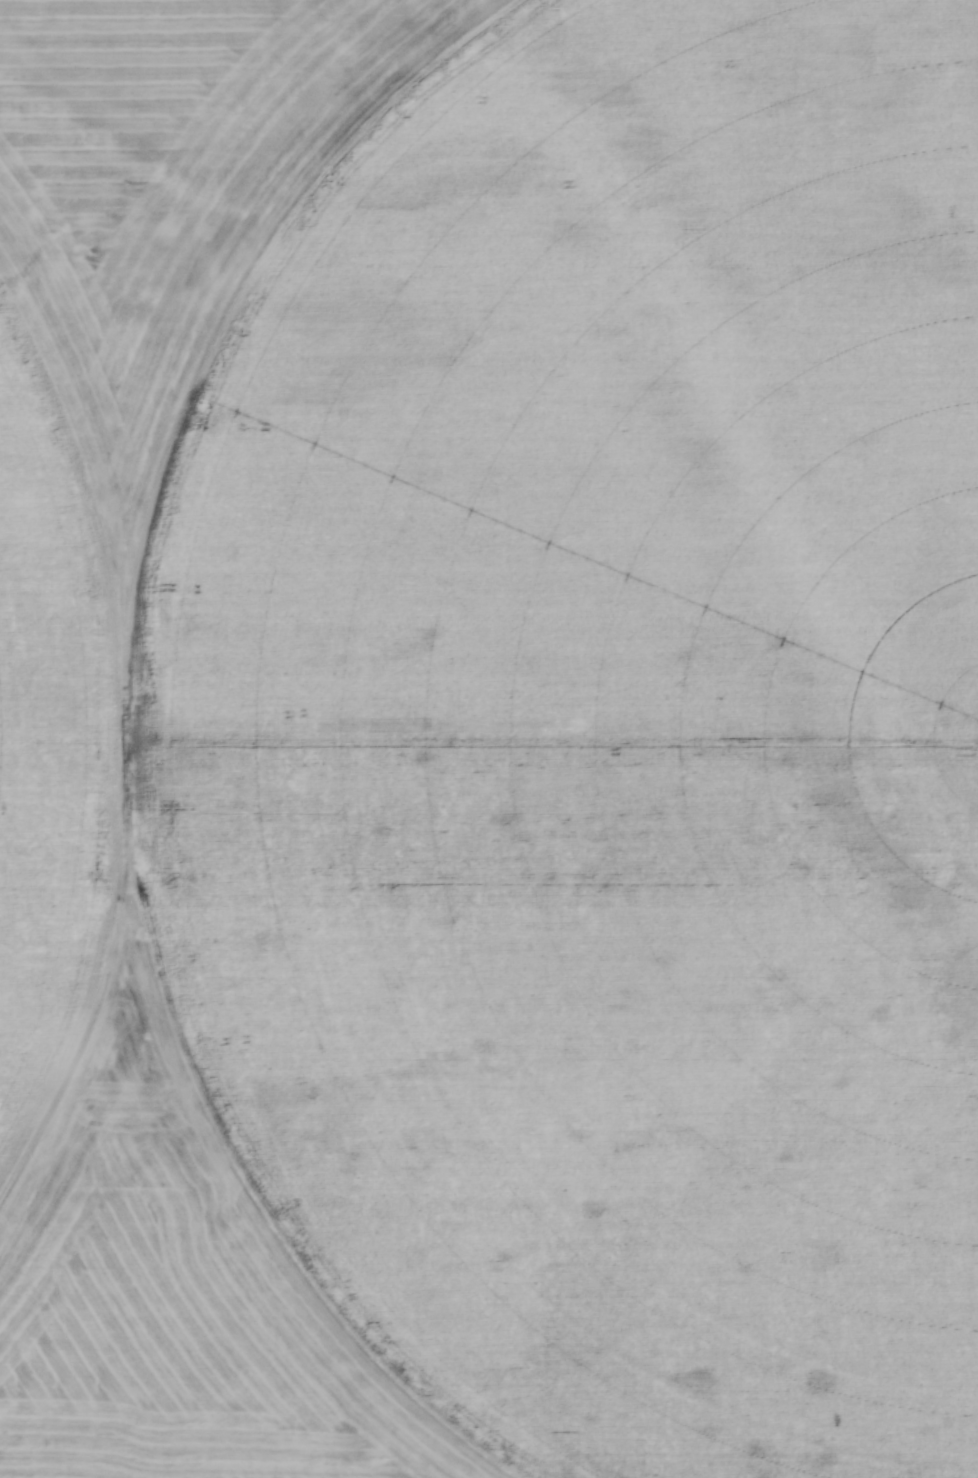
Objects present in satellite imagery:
crop: (489, 739)

